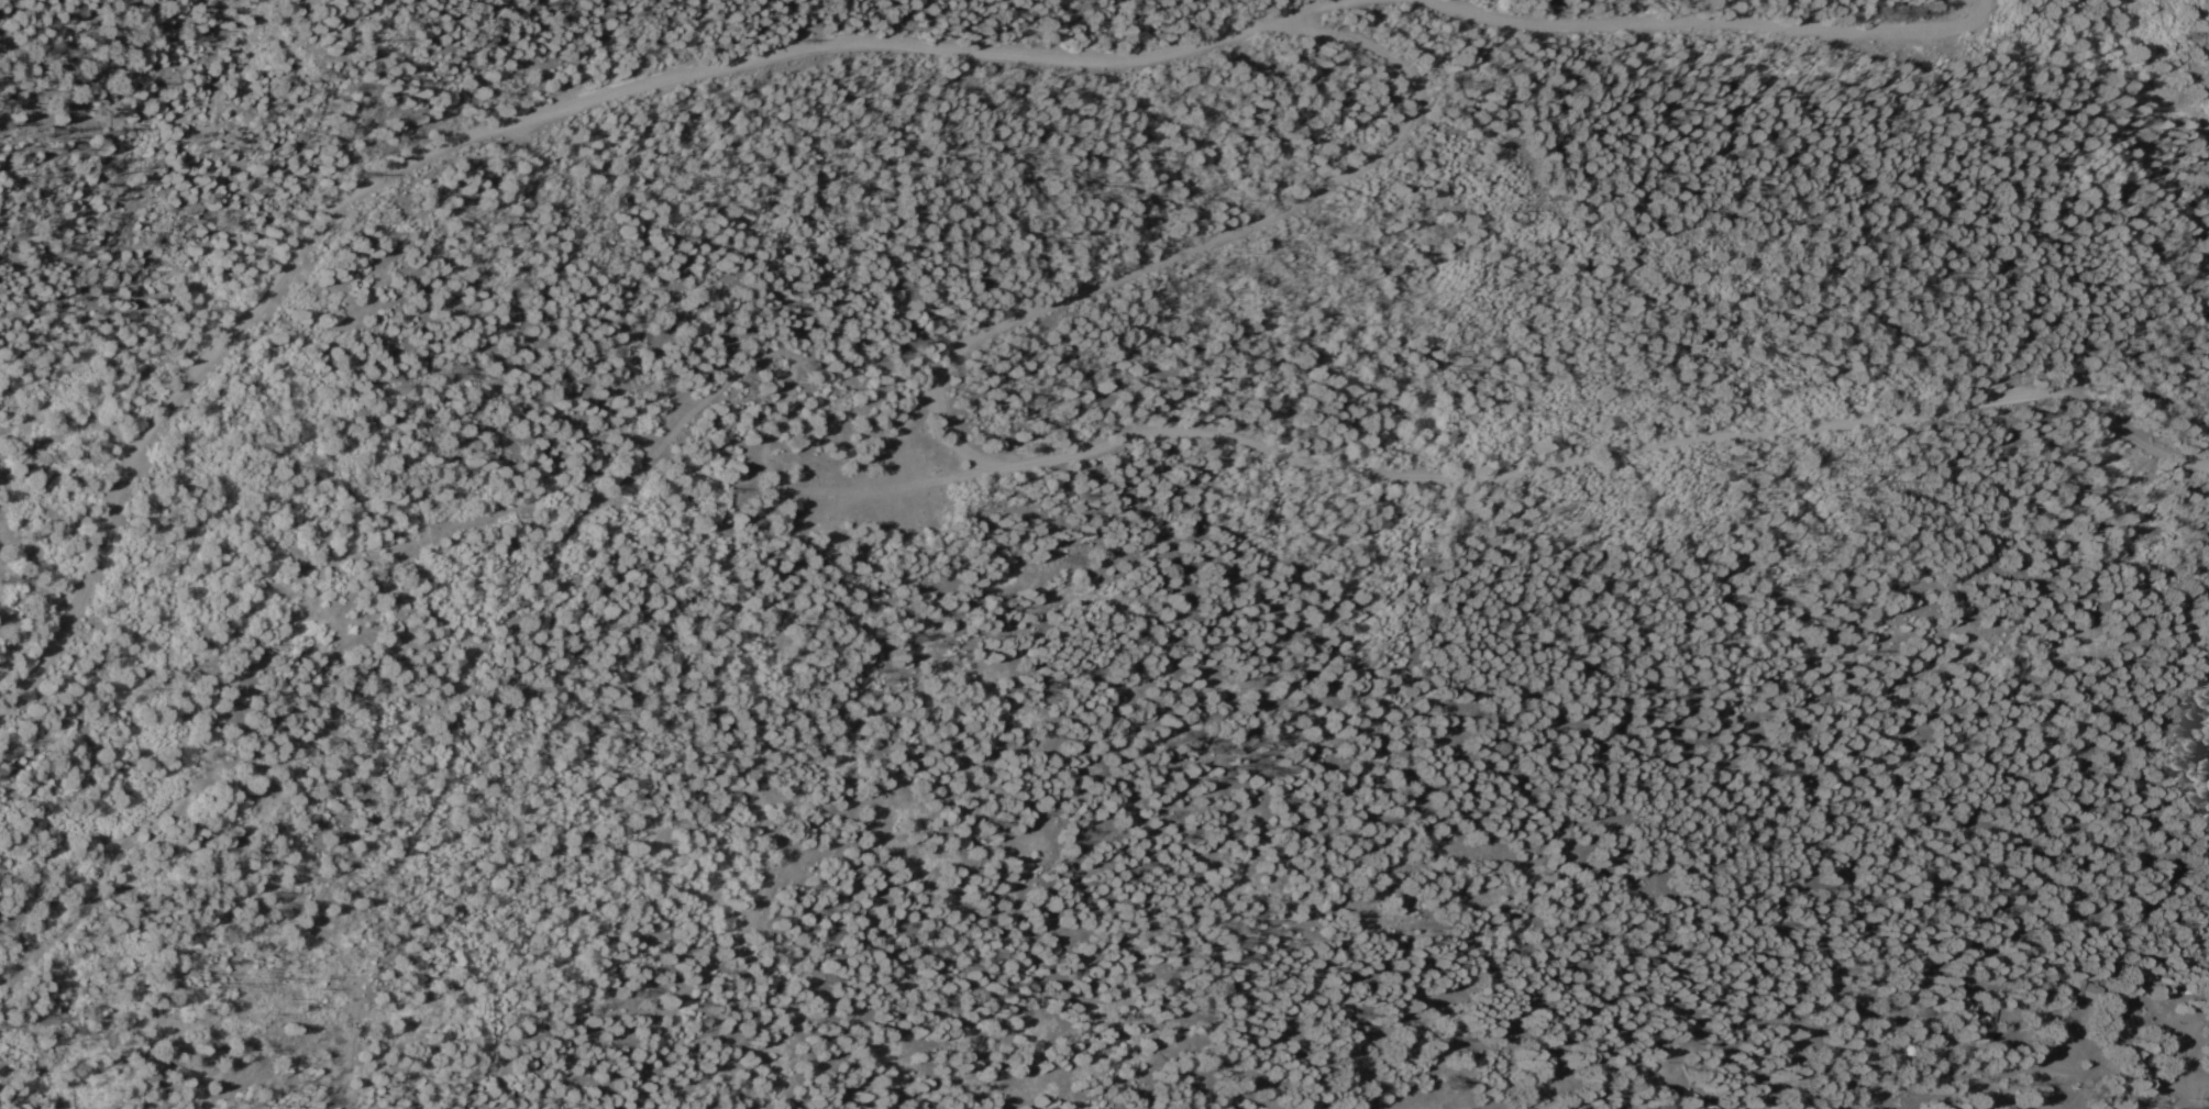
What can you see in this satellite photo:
road: (854, 47)
road: (1186, 429)
building: (2083, 990)

